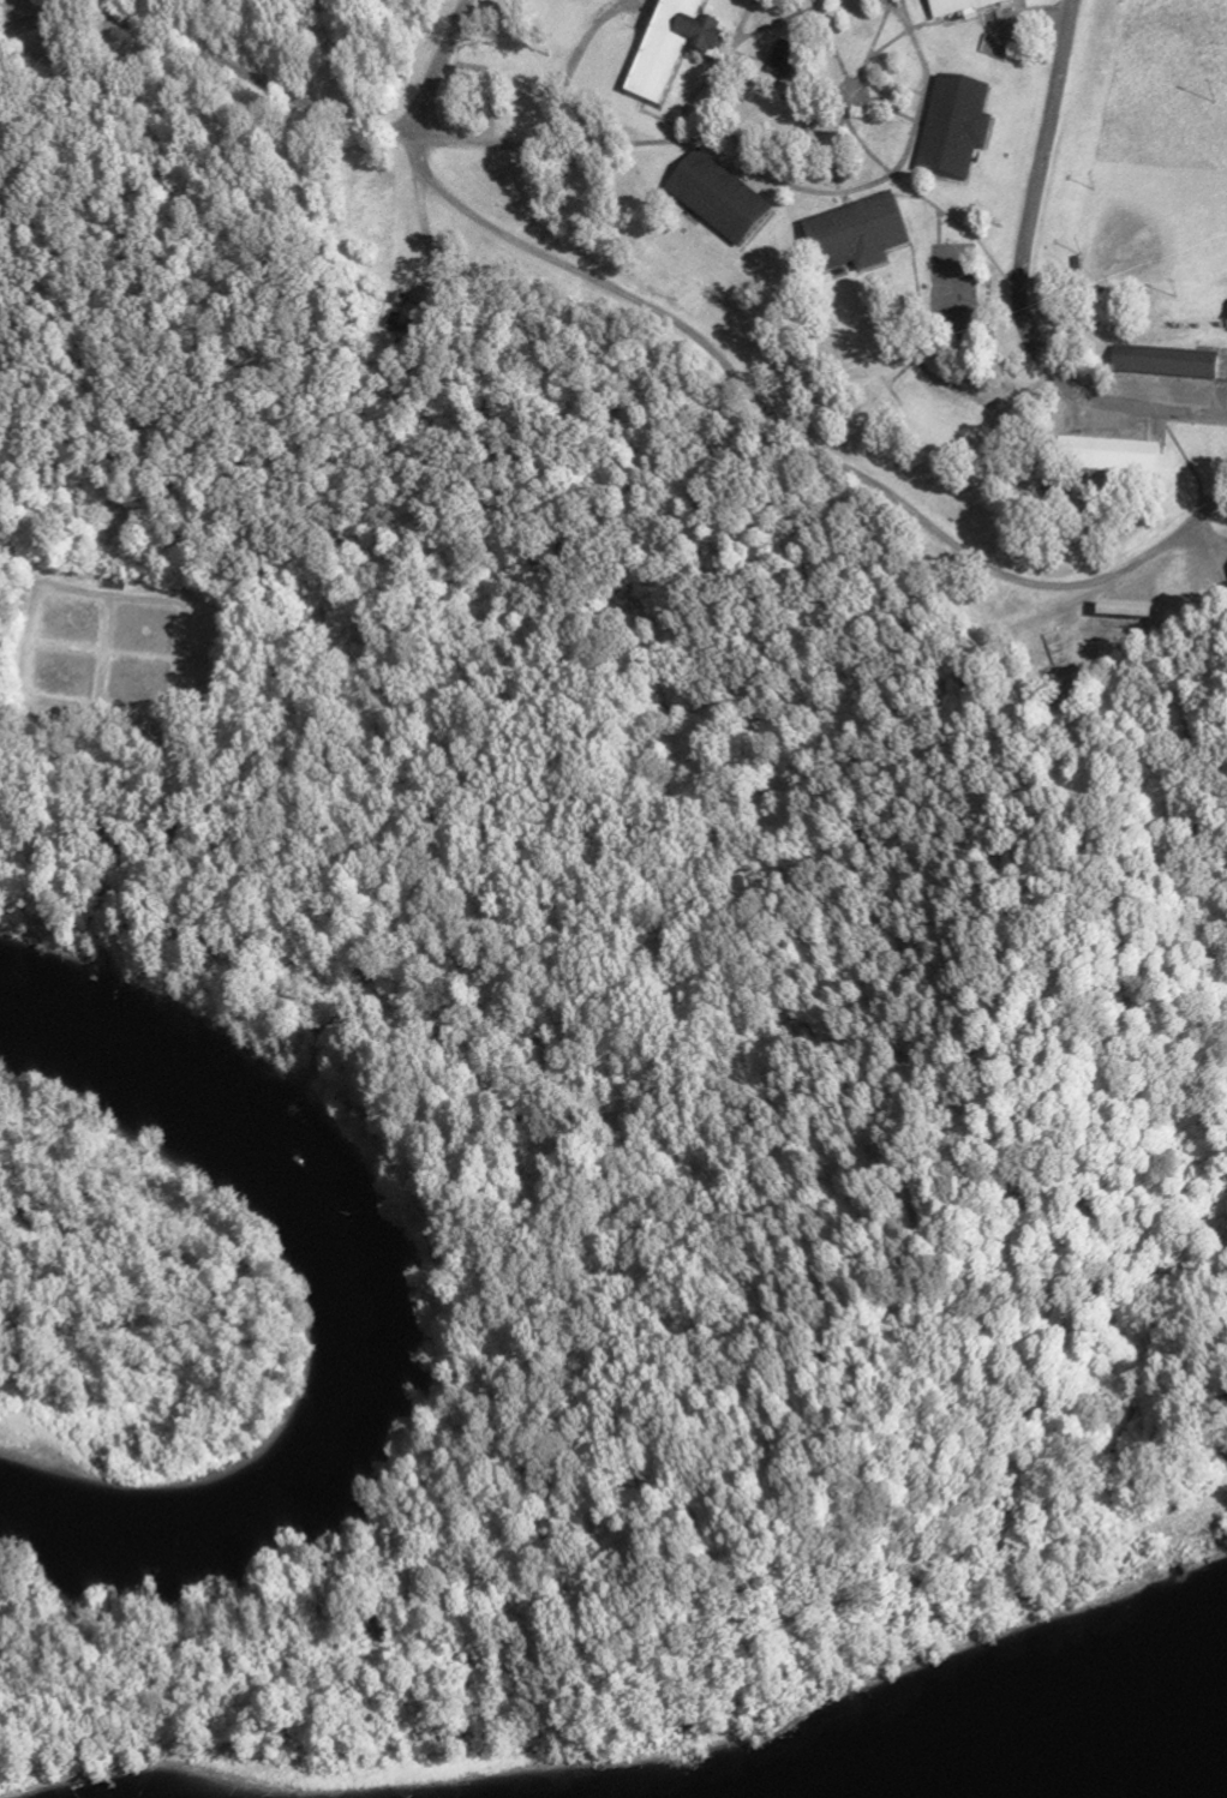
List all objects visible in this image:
building: (969, 7)
road: (906, 17)
road: (783, 22)
road: (1027, 25)
road: (810, 34)
road: (796, 36)
road: (899, 38)
building: (675, 49)
road: (726, 49)
road: (579, 54)
building: (785, 62)
road: (719, 77)
building: (474, 80)
road: (774, 86)
road: (850, 89)
road: (785, 97)
road: (311, 104)
road: (840, 108)
building: (957, 132)
road: (653, 142)
road: (834, 152)
road: (876, 182)
building: (720, 199)
road: (932, 203)
road: (427, 233)
building: (857, 236)
road: (939, 244)
road: (915, 253)
road: (1020, 281)
building: (1132, 304)
road: (953, 325)
building: (1167, 364)
road: (743, 386)
road: (1084, 398)
building: (1112, 460)
road: (1190, 463)
road: (1209, 505)
road: (19, 568)
building: (1127, 618)
road: (166, 719)
river: (351, 1325)

